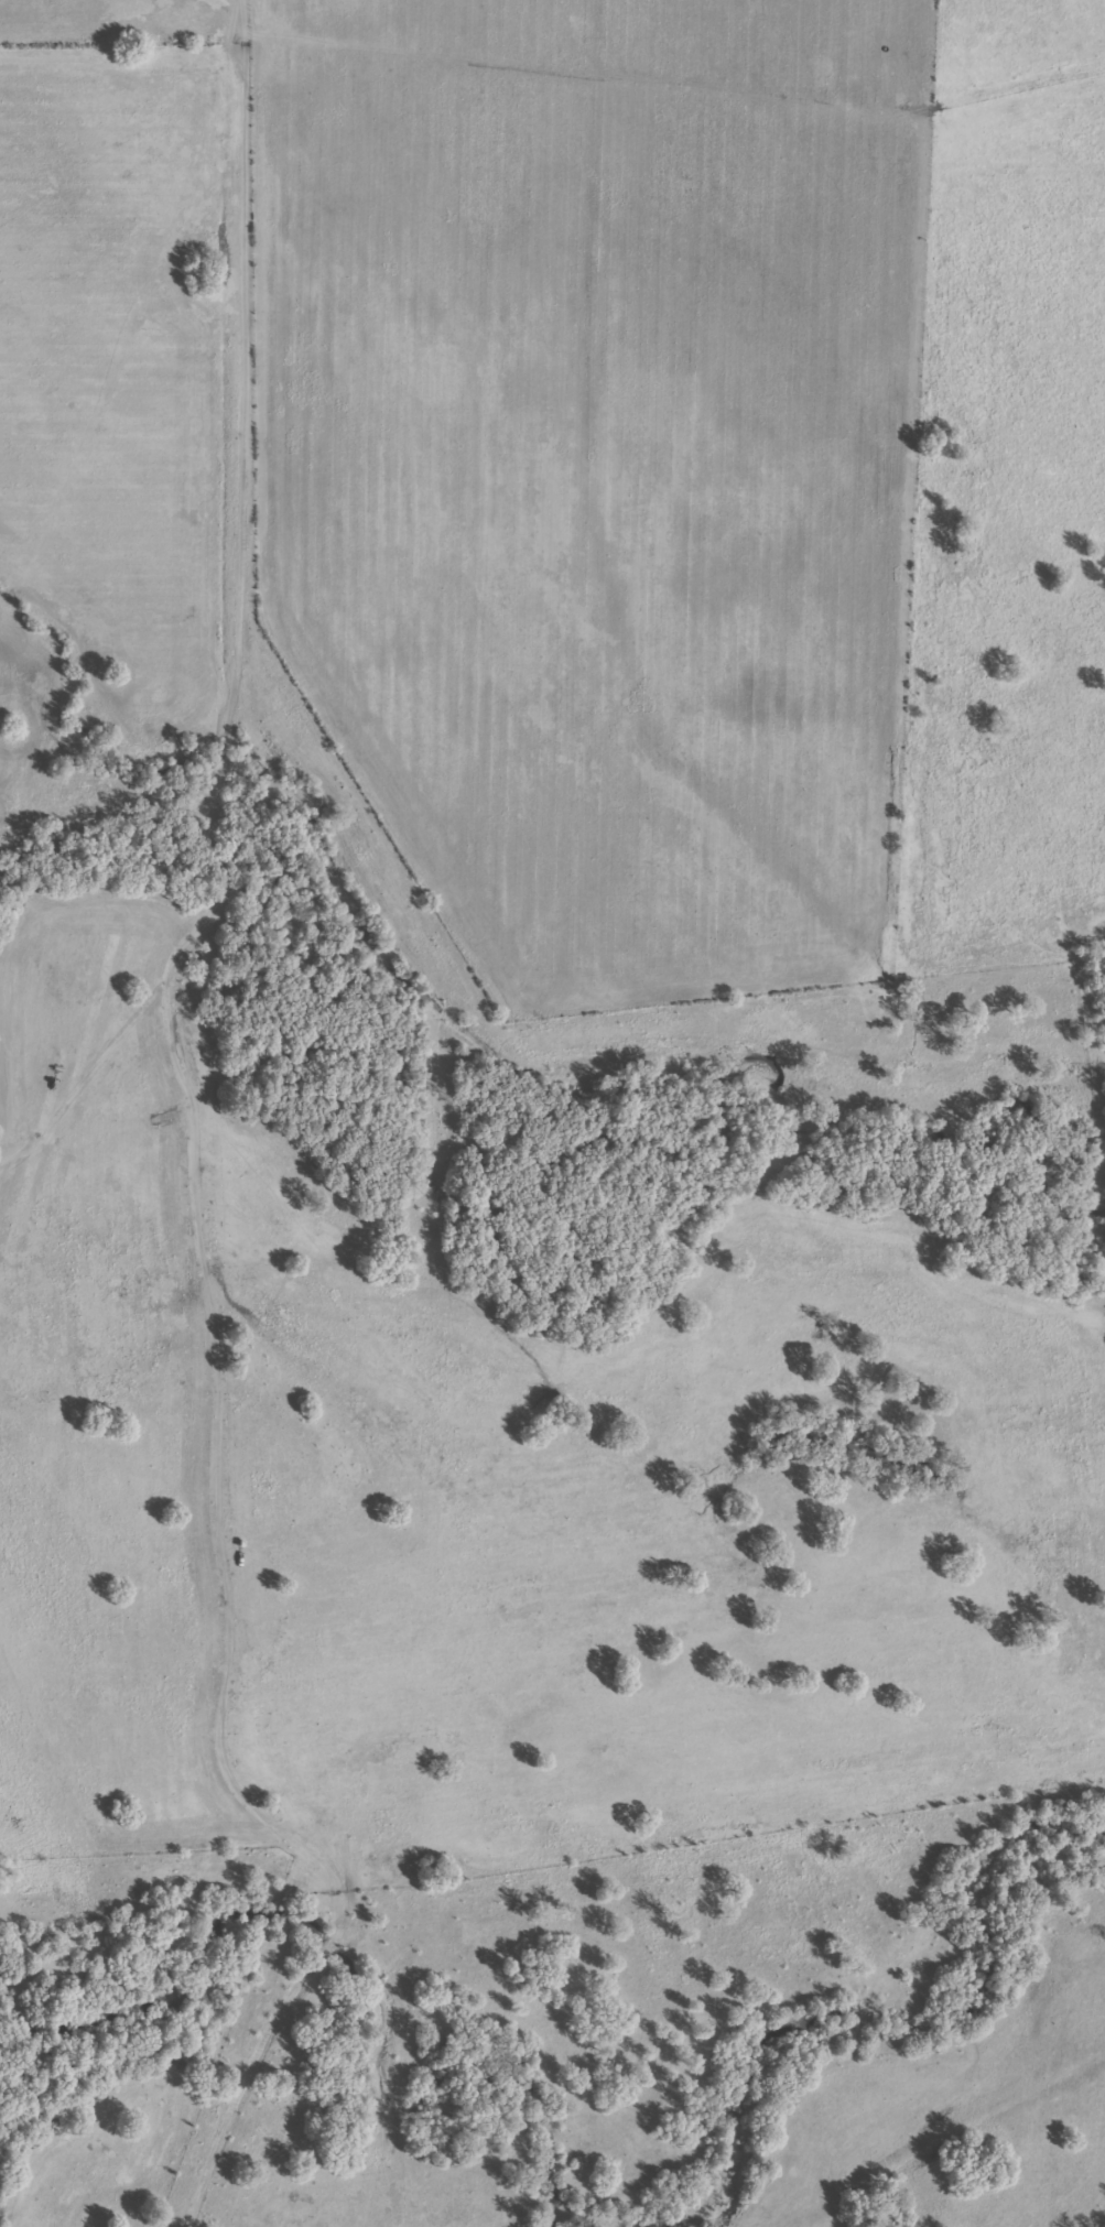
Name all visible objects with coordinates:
road: (214, 1128)
road: (113, 1759)

